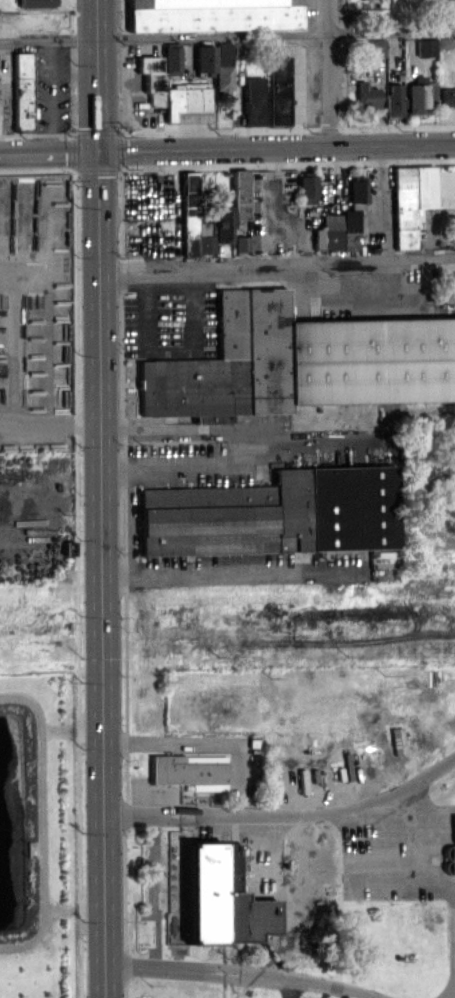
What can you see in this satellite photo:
building: (34, 3)
building: (449, 8)
building: (207, 12)
road: (439, 14)
building: (33, 23)
road: (227, 33)
building: (443, 42)
building: (373, 47)
building: (425, 47)
building: (203, 58)
building: (170, 60)
road: (344, 62)
building: (4, 63)
building: (222, 66)
road: (328, 72)
road: (95, 75)
building: (150, 77)
building: (21, 91)
building: (430, 94)
road: (49, 95)
building: (365, 96)
building: (446, 97)
building: (414, 99)
building: (392, 100)
building: (184, 101)
road: (328, 126)
road: (275, 146)
traffic signals: (96, 150)
road: (47, 151)
building: (306, 189)
building: (239, 192)
building: (356, 194)
building: (409, 202)
road: (152, 210)
road: (124, 211)
building: (190, 212)
building: (222, 225)
building: (336, 231)
building: (205, 238)
building: (240, 243)
road: (275, 269)
road: (168, 347)
building: (301, 360)
road: (48, 428)
road: (243, 448)
road: (422, 505)
building: (273, 511)
road: (244, 569)
road: (99, 573)
building: (189, 771)
road: (425, 807)
road: (284, 819)
wastewater plant: (279, 834)
building: (450, 855)
road: (435, 865)
building: (201, 890)
road: (153, 893)
road: (453, 897)
road: (269, 901)
road: (239, 974)
road: (452, 985)
road: (281, 988)
parking lot: (312, 991)

